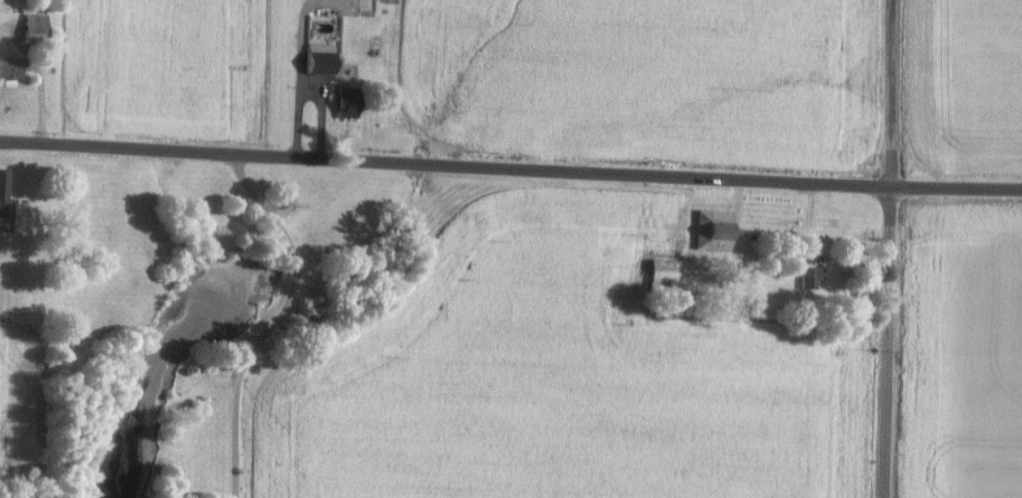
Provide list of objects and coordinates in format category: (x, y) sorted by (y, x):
building: (29, 22)
building: (315, 56)
building: (6, 67)
building: (342, 108)
road: (300, 109)
road: (508, 180)
building: (2, 201)
building: (709, 229)
road: (886, 248)
building: (657, 271)
building: (806, 276)
road: (282, 318)

